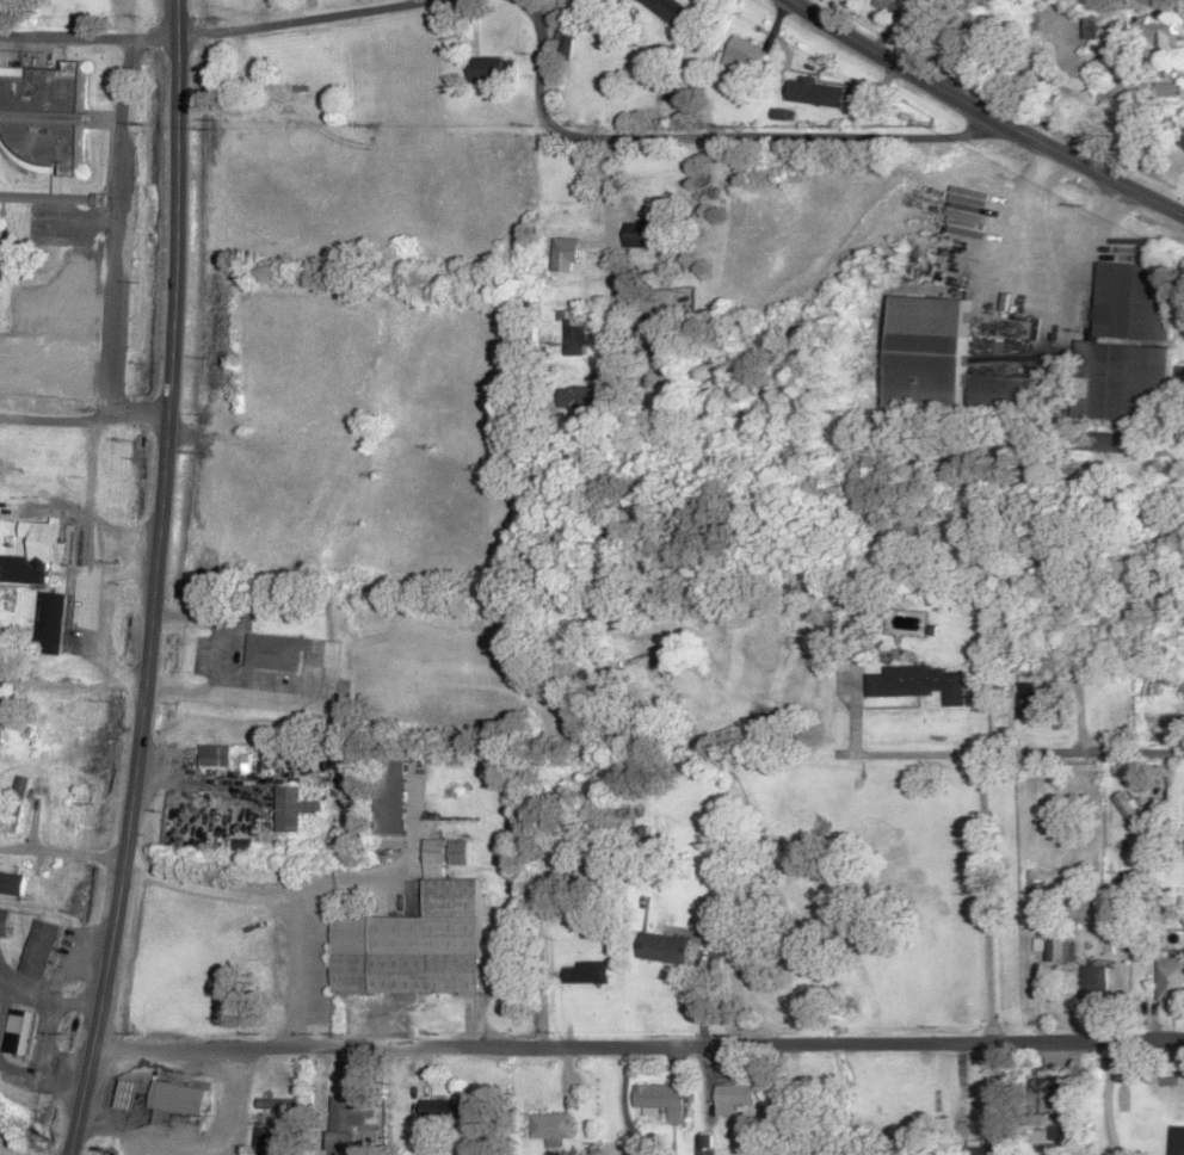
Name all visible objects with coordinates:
building: (881, 4)
building: (670, 11)
road: (302, 18)
road: (90, 33)
building: (567, 36)
building: (1154, 38)
building: (746, 57)
building: (491, 70)
building: (659, 87)
building: (816, 94)
road: (985, 113)
building: (41, 119)
road: (708, 134)
building: (29, 198)
building: (0, 230)
building: (650, 234)
building: (566, 251)
road: (708, 265)
building: (1134, 302)
building: (950, 365)
building: (1126, 381)
building: (576, 397)
road: (82, 412)
building: (1102, 443)
building: (39, 551)
road: (153, 580)
building: (51, 623)
building: (278, 653)
building: (920, 684)
building: (1041, 702)
building: (2, 717)
road: (1083, 751)
building: (215, 758)
building: (391, 783)
building: (17, 804)
building: (294, 809)
building: (1133, 817)
building: (460, 852)
road: (943, 879)
building: (11, 884)
building: (1034, 904)
building: (4, 922)
building: (413, 946)
building: (1054, 949)
building: (38, 950)
building: (666, 950)
building: (586, 974)
building: (1171, 982)
building: (1096, 986)
building: (19, 1032)
road: (636, 1033)
road: (266, 1093)
building: (130, 1095)
building: (734, 1099)
building: (175, 1101)
building: (660, 1102)
building: (1056, 1104)
building: (446, 1111)
building: (352, 1112)
building: (551, 1126)
building: (269, 1138)
building: (1177, 1142)
building: (341, 1143)
building: (704, 1144)
building: (976, 1151)

